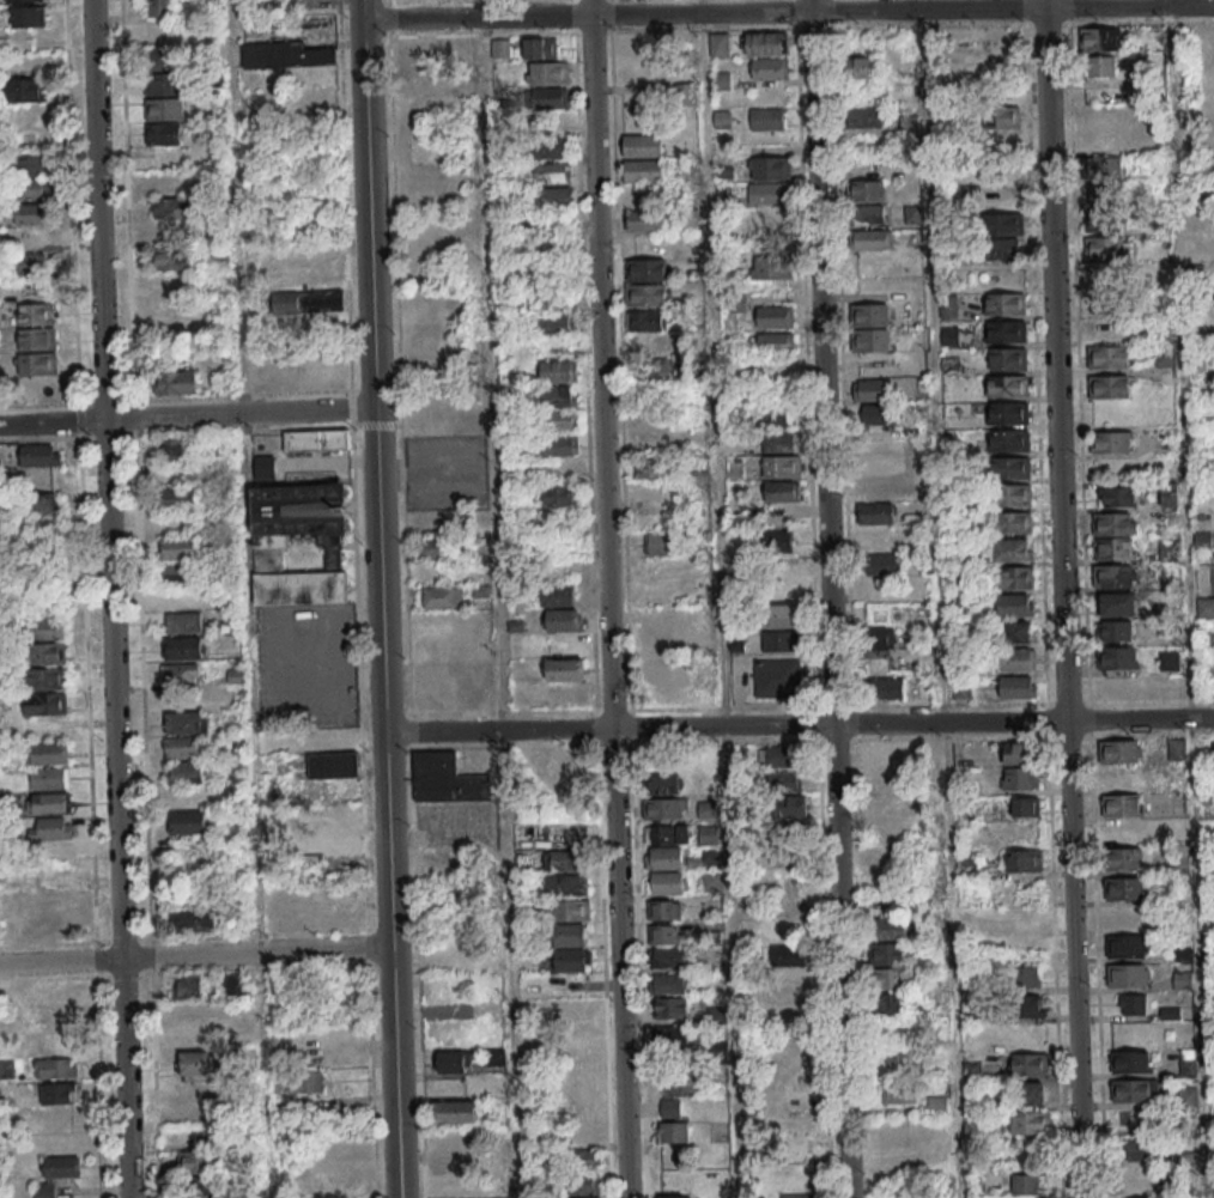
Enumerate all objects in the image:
building: (24, 0)
road: (383, 1)
road: (1169, 2)
building: (159, 7)
road: (787, 12)
building: (28, 16)
road: (386, 19)
road: (1128, 23)
road: (1032, 25)
road: (913, 26)
building: (1099, 38)
building: (767, 42)
building: (718, 44)
building: (540, 47)
building: (499, 48)
building: (420, 50)
building: (285, 55)
building: (163, 59)
building: (1100, 66)
building: (862, 67)
building: (770, 68)
building: (548, 72)
building: (423, 74)
building: (721, 80)
building: (163, 84)
building: (686, 89)
building: (26, 90)
building: (550, 97)
building: (164, 109)
building: (862, 115)
building: (1002, 117)
building: (722, 118)
building: (766, 118)
building: (554, 122)
building: (163, 133)
building: (643, 145)
building: (552, 147)
building: (31, 164)
building: (770, 168)
building: (1101, 168)
building: (644, 170)
building: (553, 172)
building: (168, 183)
building: (30, 188)
building: (864, 189)
building: (765, 193)
building: (553, 196)
building: (1105, 196)
building: (169, 207)
road: (237, 207)
road: (97, 209)
building: (30, 213)
building: (868, 214)
building: (643, 220)
building: (1104, 221)
building: (1003, 224)
building: (873, 238)
building: (554, 245)
building: (1106, 248)
building: (1003, 249)
building: (172, 259)
building: (31, 263)
building: (772, 267)
building: (647, 269)
building: (299, 276)
building: (648, 294)
building: (1105, 298)
building: (324, 300)
building: (1003, 303)
building: (286, 304)
building: (36, 314)
building: (776, 316)
building: (556, 321)
building: (644, 321)
building: (870, 327)
building: (1007, 330)
building: (36, 337)
building: (776, 341)
building: (1107, 357)
building: (1008, 358)
road: (1054, 359)
building: (36, 364)
road: (600, 364)
building: (652, 367)
building: (775, 369)
building: (558, 371)
road: (397, 377)
building: (175, 382)
building: (1007, 385)
building: (1109, 385)
building: (872, 390)
building: (559, 407)
building: (1008, 412)
road: (238, 414)
building: (879, 414)
building: (777, 415)
road: (51, 422)
building: (316, 439)
building: (1010, 439)
building: (1112, 440)
building: (781, 442)
building: (560, 444)
building: (174, 449)
building: (40, 455)
building: (876, 463)
building: (265, 467)
building: (782, 467)
building: (1012, 467)
building: (650, 468)
building: (783, 491)
building: (1012, 494)
building: (1170, 494)
building: (560, 495)
building: (177, 497)
building: (1118, 497)
building: (44, 504)
road: (376, 506)
building: (876, 513)
building: (1012, 522)
building: (1115, 523)
building: (878, 539)
building: (775, 541)
building: (1203, 541)
building: (298, 542)
building: (658, 543)
building: (177, 547)
building: (432, 547)
building: (1013, 549)
building: (1112, 549)
building: (959, 555)
building: (882, 564)
building: (178, 573)
building: (1013, 577)
building: (1110, 577)
building: (557, 594)
building: (443, 596)
road: (497, 598)
road: (717, 598)
road: (828, 598)
road: (942, 598)
road: (1191, 601)
building: (966, 603)
building: (1118, 603)
building: (1013, 604)
building: (1206, 607)
building: (782, 615)
building: (564, 620)
building: (183, 622)
building: (47, 627)
building: (1116, 630)
building: (1016, 632)
building: (880, 638)
building: (703, 639)
building: (781, 640)
building: (658, 641)
building: (182, 647)
building: (45, 652)
building: (1118, 657)
building: (1014, 658)
building: (1169, 659)
building: (657, 667)
building: (566, 669)
building: (180, 673)
building: (45, 677)
building: (778, 677)
building: (1019, 686)
building: (887, 687)
building: (963, 688)
road: (113, 689)
building: (45, 703)
road: (1139, 718)
building: (186, 722)
road: (838, 723)
road: (535, 730)
road: (420, 731)
road: (409, 732)
building: (183, 746)
building: (1122, 750)
building: (1019, 752)
building: (48, 753)
building: (332, 755)
building: (782, 755)
building: (184, 771)
building: (48, 777)
building: (1020, 777)
building: (445, 779)
building: (782, 779)
building: (661, 784)
building: (48, 802)
building: (887, 803)
building: (1122, 804)
road: (255, 805)
building: (789, 805)
building: (1025, 807)
building: (666, 808)
building: (332, 814)
building: (187, 821)
building: (50, 827)
building: (664, 833)
building: (334, 839)
building: (663, 857)
building: (778, 858)
building: (1127, 858)
building: (565, 859)
building: (1024, 859)
building: (966, 866)
building: (57, 876)
building: (667, 882)
building: (711, 882)
building: (566, 883)
building: (1124, 887)
building: (53, 902)
building: (569, 910)
building: (664, 910)
building: (194, 920)
building: (888, 929)
building: (667, 934)
building: (1128, 944)
building: (570, 947)
road: (255, 953)
building: (793, 954)
building: (669, 956)
road: (1073, 959)
road: (60, 961)
road: (619, 963)
road: (418, 973)
building: (1128, 974)
building: (1026, 975)
building: (888, 978)
building: (1183, 980)
building: (669, 983)
building: (233, 984)
building: (187, 986)
building: (60, 992)
building: (1133, 1003)
building: (1031, 1005)
building: (672, 1008)
building: (61, 1017)
building: (192, 1036)
building: (672, 1036)
building: (496, 1056)
building: (454, 1060)
building: (1131, 1060)
building: (196, 1062)
building: (1028, 1064)
building: (55, 1068)
building: (1188, 1068)
road: (125, 1078)
building: (305, 1081)
building: (678, 1083)
building: (1135, 1089)
building: (899, 1090)
building: (1034, 1091)
building: (57, 1093)
building: (1188, 1095)
building: (937, 1103)
road: (394, 1106)
building: (455, 1111)
building: (1031, 1121)
building: (672, 1123)
building: (1143, 1149)
building: (581, 1159)
building: (195, 1161)
building: (56, 1174)
building: (1141, 1178)
building: (1025, 1182)
building: (455, 1185)
building: (582, 1185)
building: (201, 1186)
building: (673, 1196)
building: (1141, 1197)

